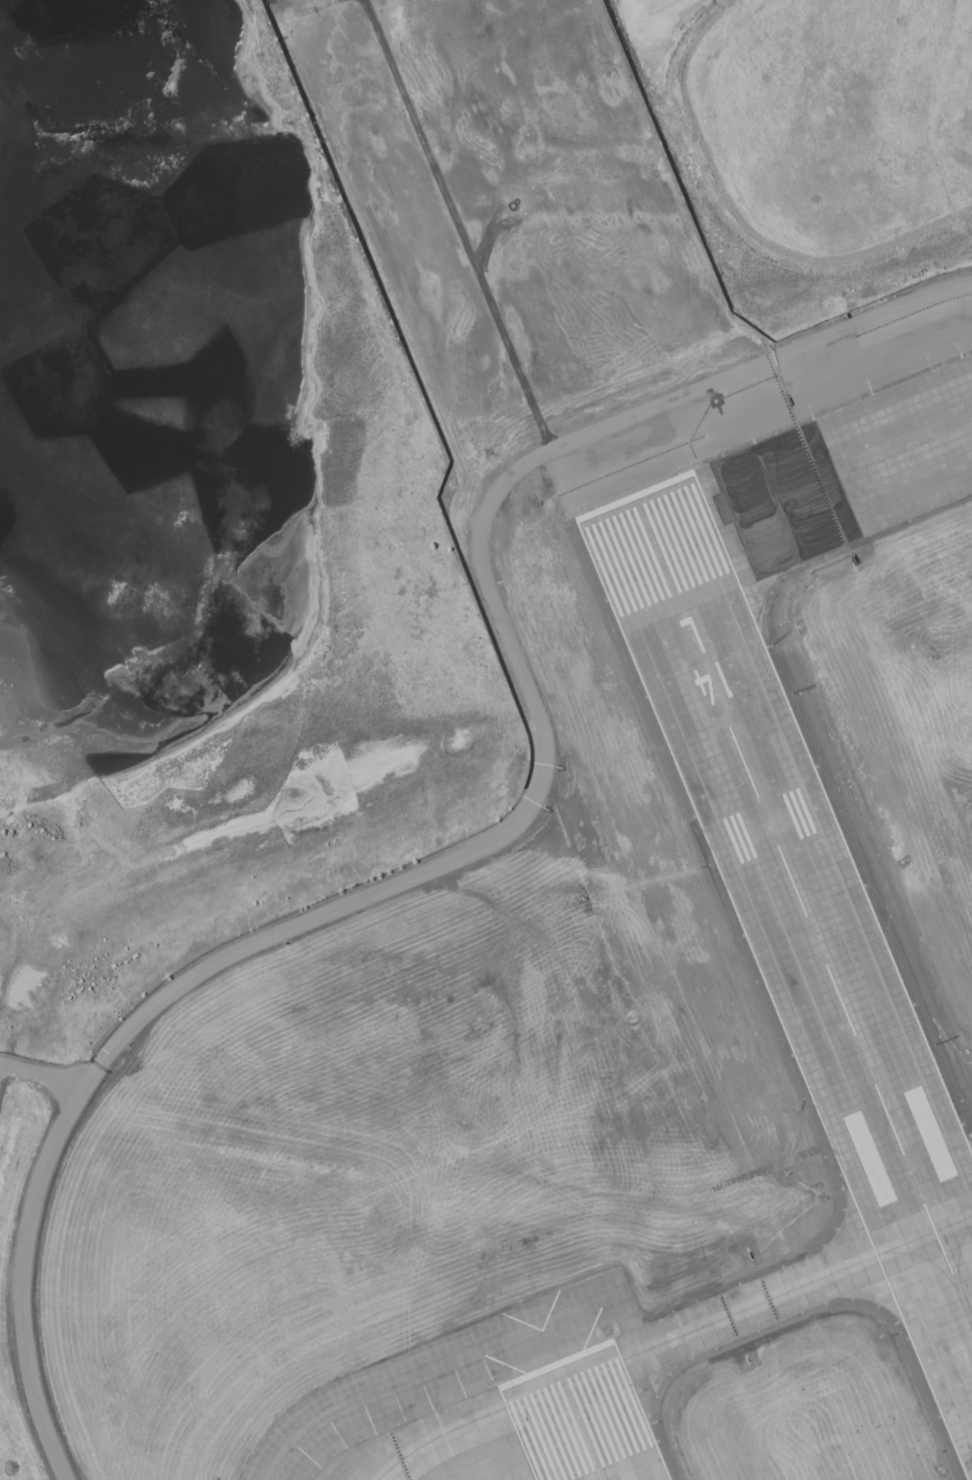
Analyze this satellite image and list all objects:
road: (741, 222)
road: (455, 226)
road: (755, 368)
airport taxiway: (816, 490)
road: (483, 847)
airport: (585, 882)
airport runway: (805, 911)
road: (42, 1076)
road: (24, 1269)
airport taxiway: (672, 1341)
airport runway: (581, 1421)

